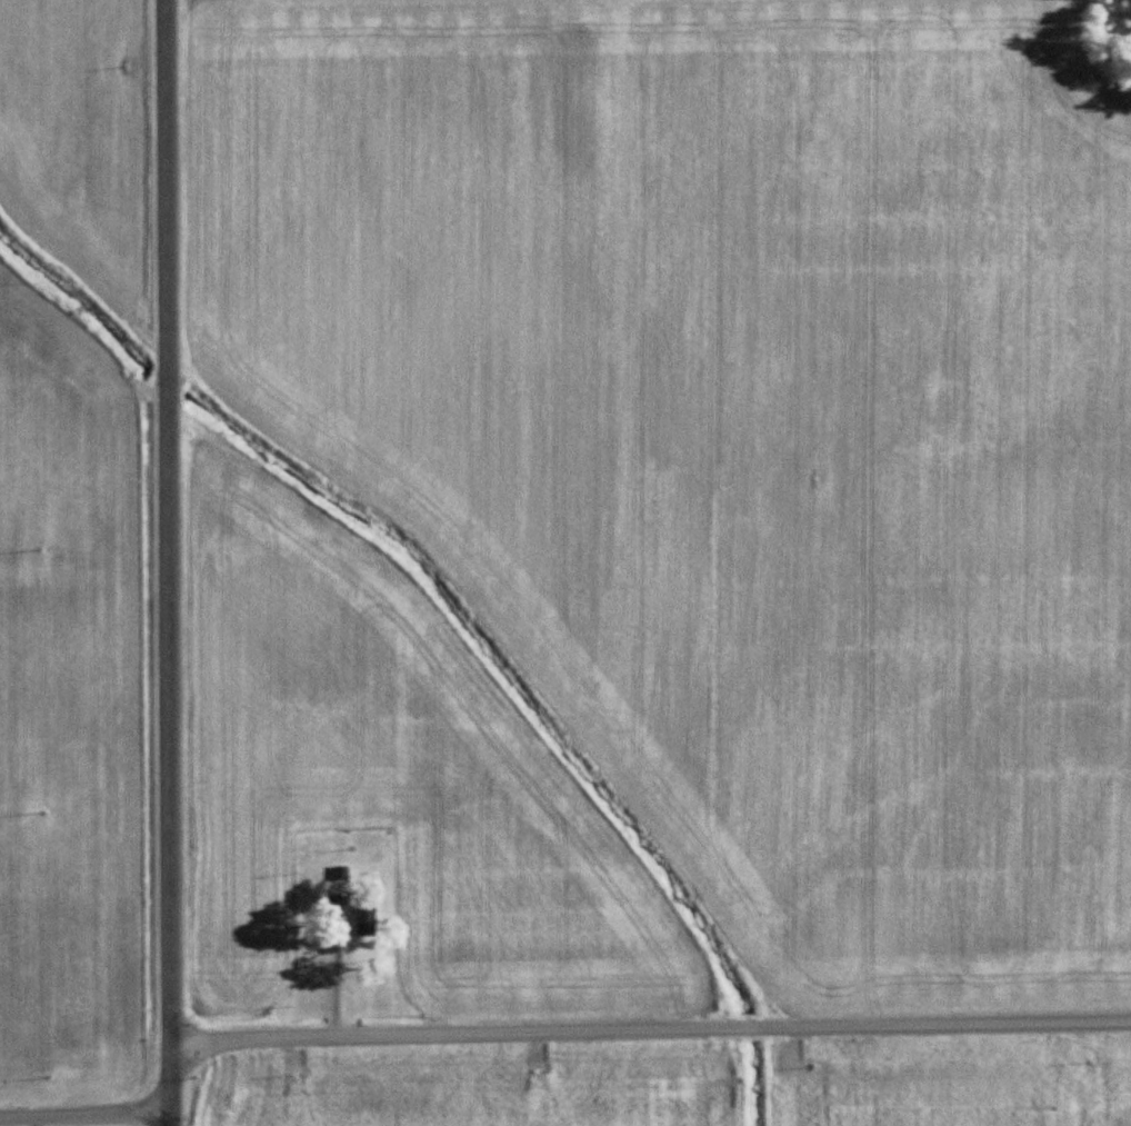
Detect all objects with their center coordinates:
road: (167, 522)
building: (357, 911)
road: (651, 1030)
road: (172, 1084)
road: (86, 1120)
road: (171, 1124)

